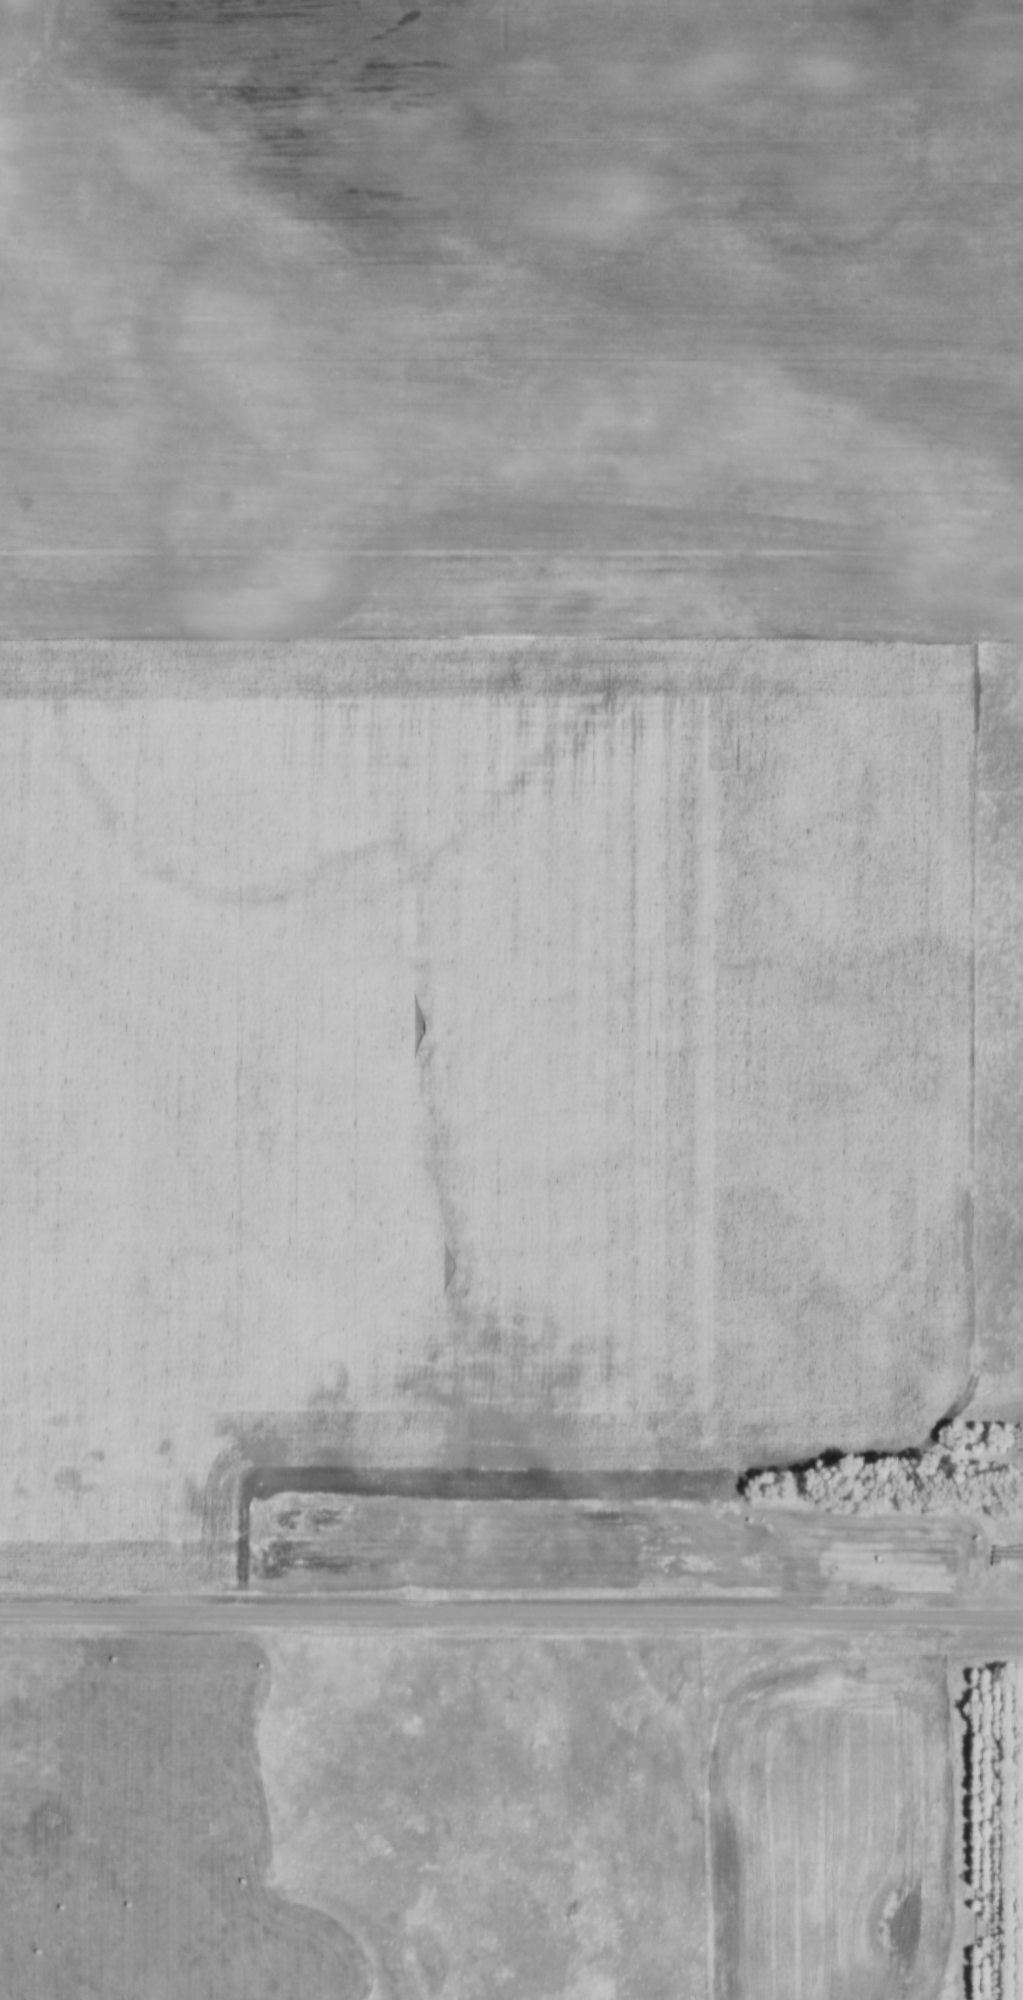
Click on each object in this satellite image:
road: (511, 1618)

